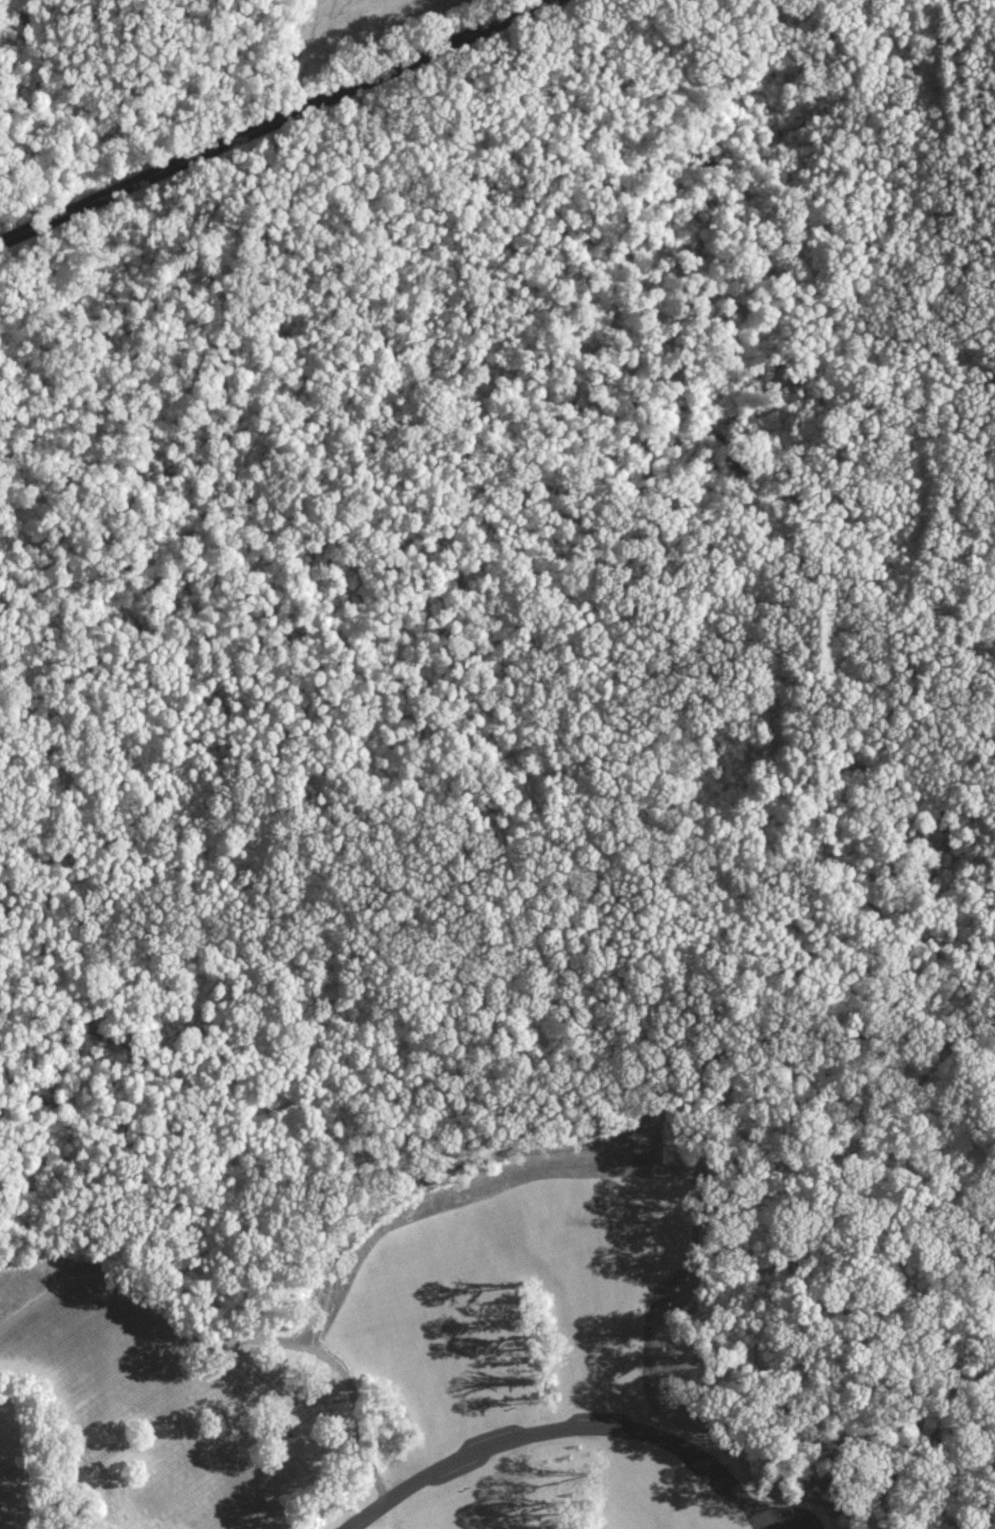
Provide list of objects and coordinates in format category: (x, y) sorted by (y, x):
road: (264, 125)
road: (532, 886)
road: (636, 1125)
road: (221, 1342)
park: (397, 1360)
road: (562, 1427)

